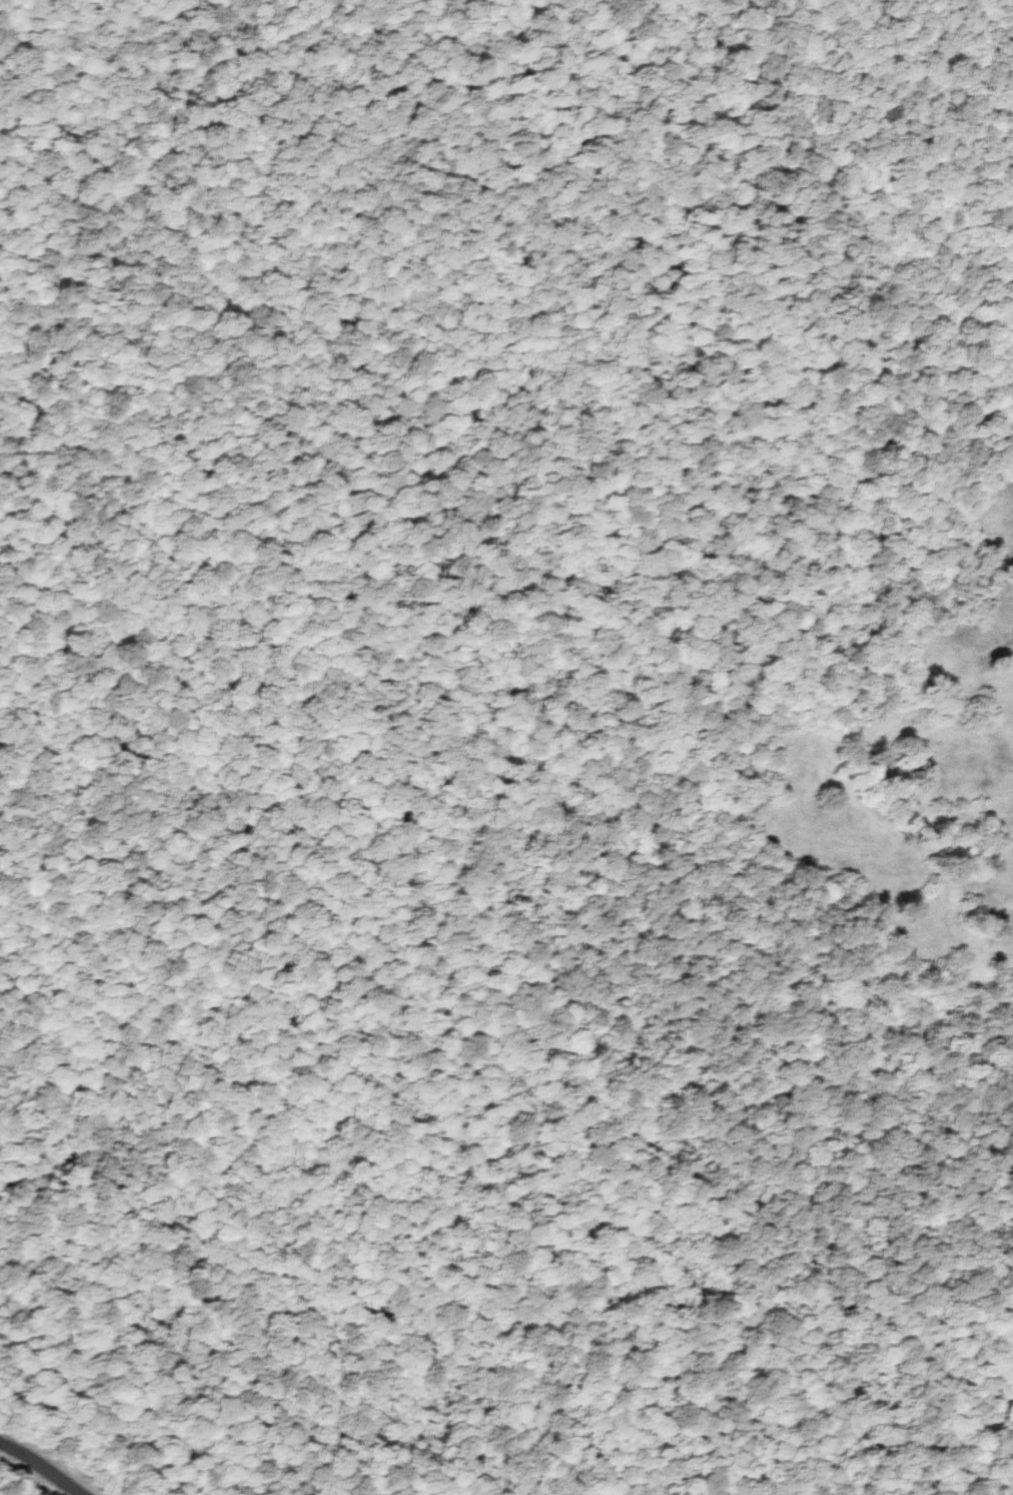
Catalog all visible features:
road: (36, 1471)

